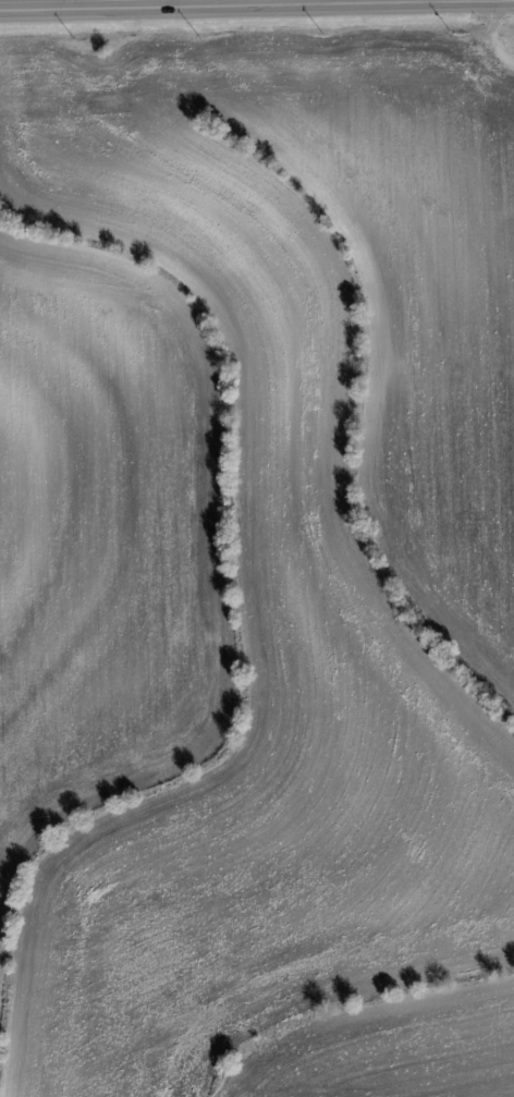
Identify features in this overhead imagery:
road: (419, 2)
road: (276, 3)
road: (257, 8)
road: (494, 37)

